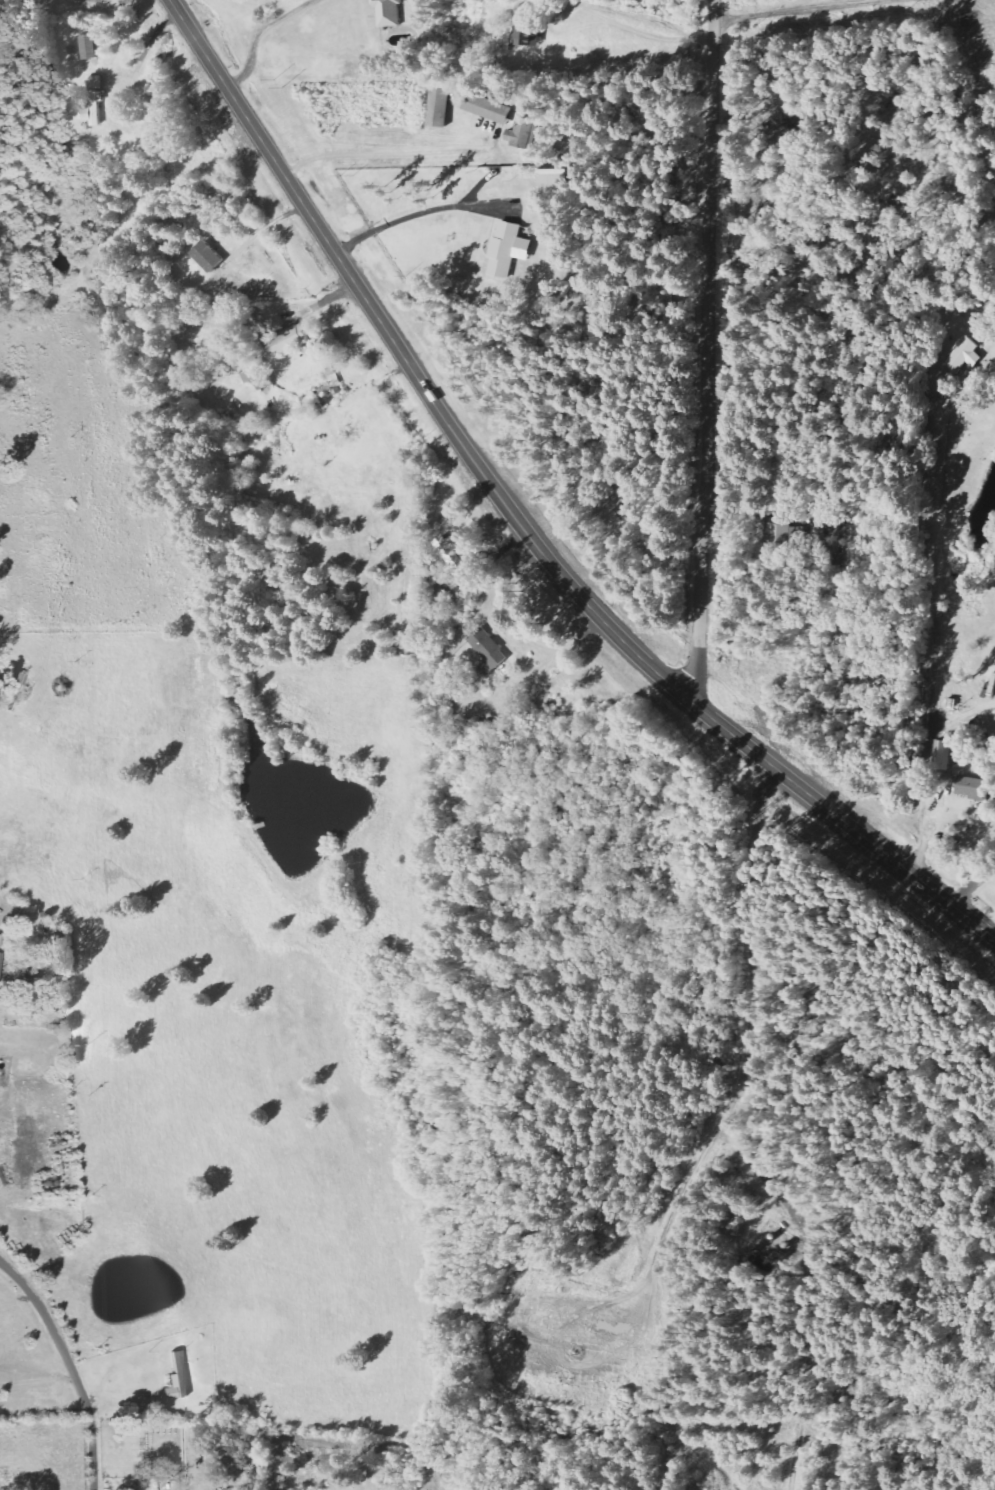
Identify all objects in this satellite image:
building: (388, 12)
road: (258, 35)
building: (524, 37)
building: (88, 47)
building: (96, 82)
building: (439, 108)
building: (93, 109)
building: (487, 109)
building: (521, 133)
building: (508, 249)
building: (207, 256)
building: (289, 341)
road: (706, 348)
building: (961, 354)
building: (252, 375)
road: (520, 524)
building: (777, 535)
building: (456, 554)
building: (489, 650)
building: (944, 754)
building: (969, 786)
road: (70, 1365)
building: (176, 1378)
building: (190, 1450)
building: (234, 1489)

